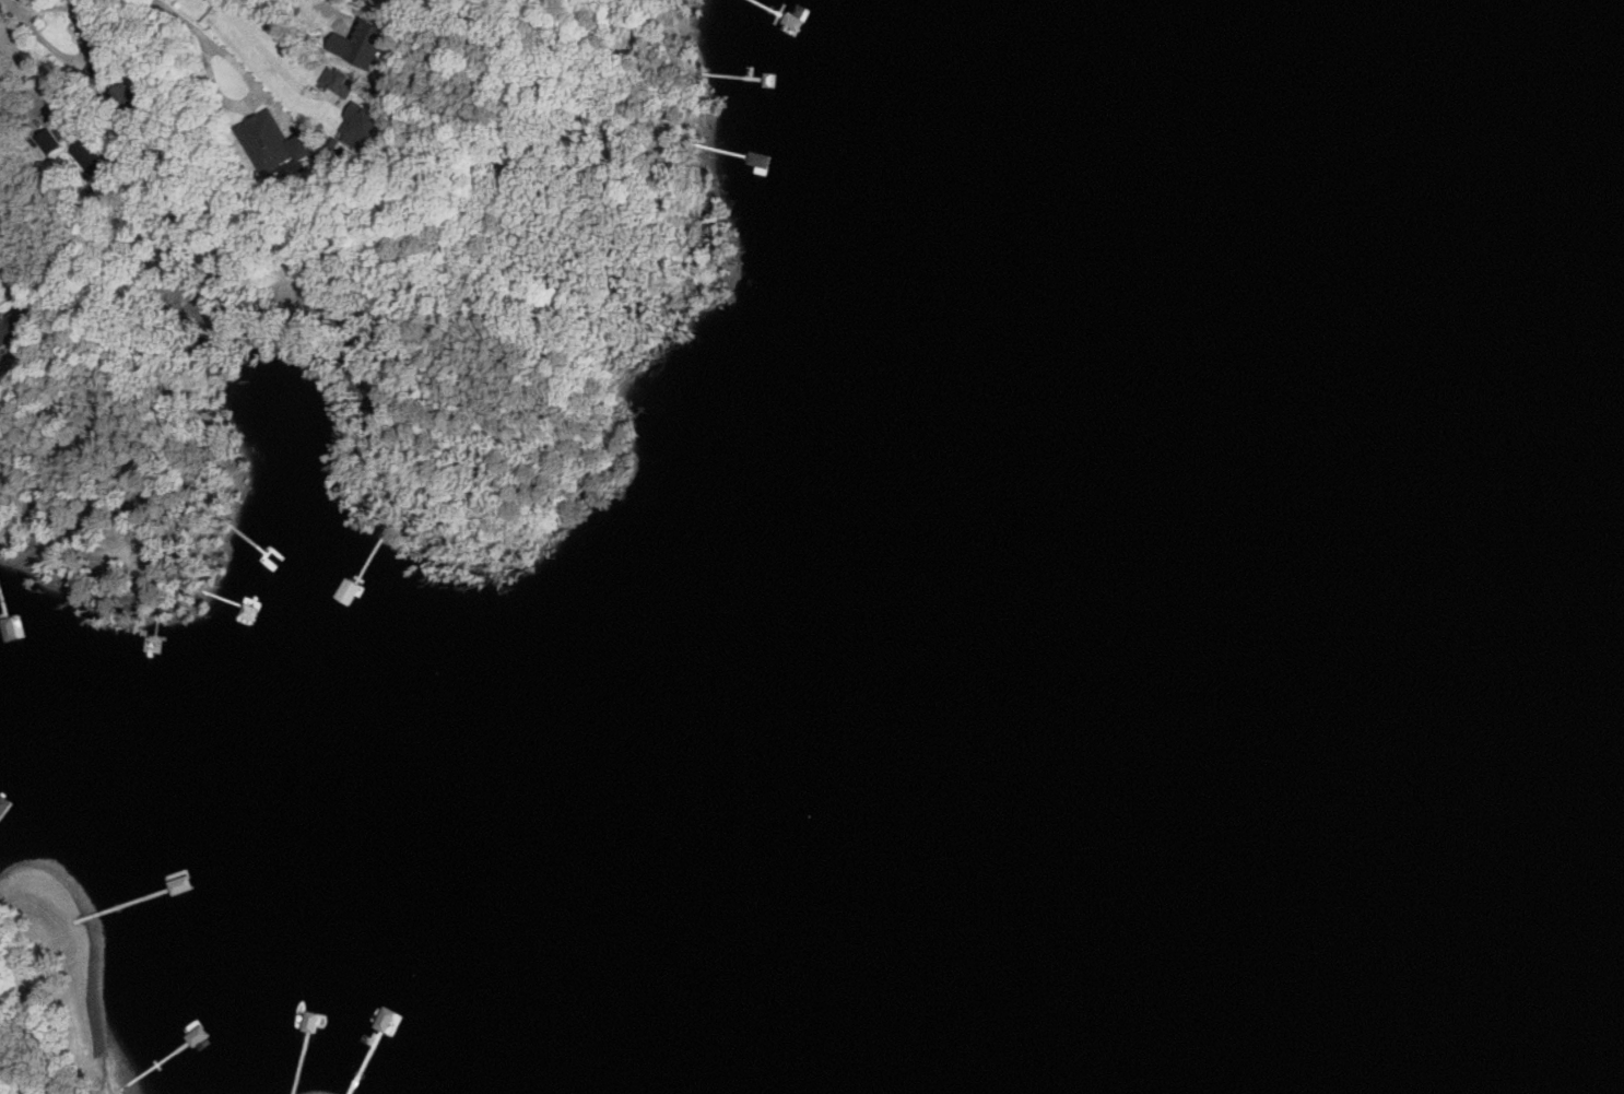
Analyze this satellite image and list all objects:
road: (28, 12)
road: (184, 17)
road: (20, 82)
building: (338, 82)
road: (249, 101)
building: (116, 108)
building: (358, 125)
building: (46, 140)
building: (270, 141)
building: (789, 150)
building: (87, 157)
road: (11, 278)
building: (12, 322)
building: (1, 358)
building: (256, 585)
building: (340, 585)
building: (0, 604)

